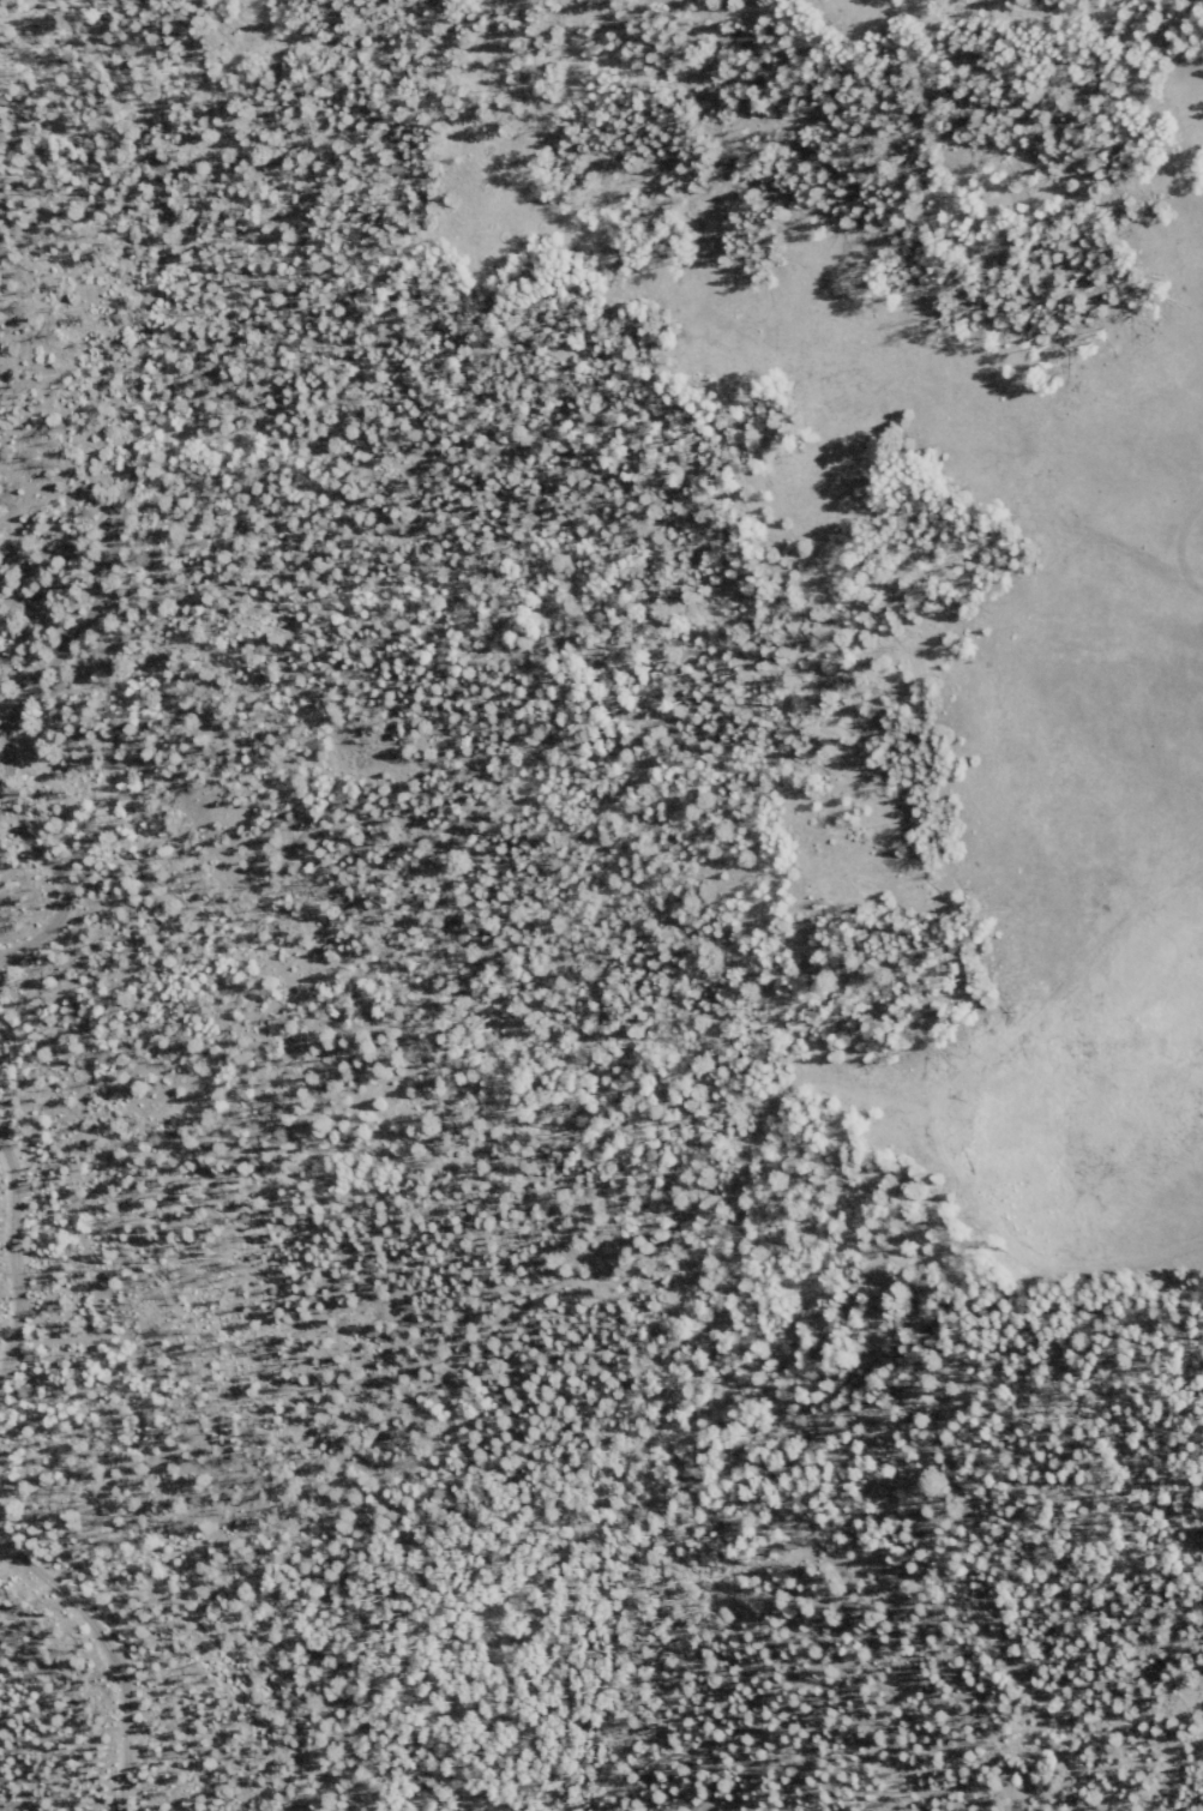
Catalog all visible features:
road: (19, 823)
road: (79, 903)
road: (22, 1276)
road: (106, 1647)

